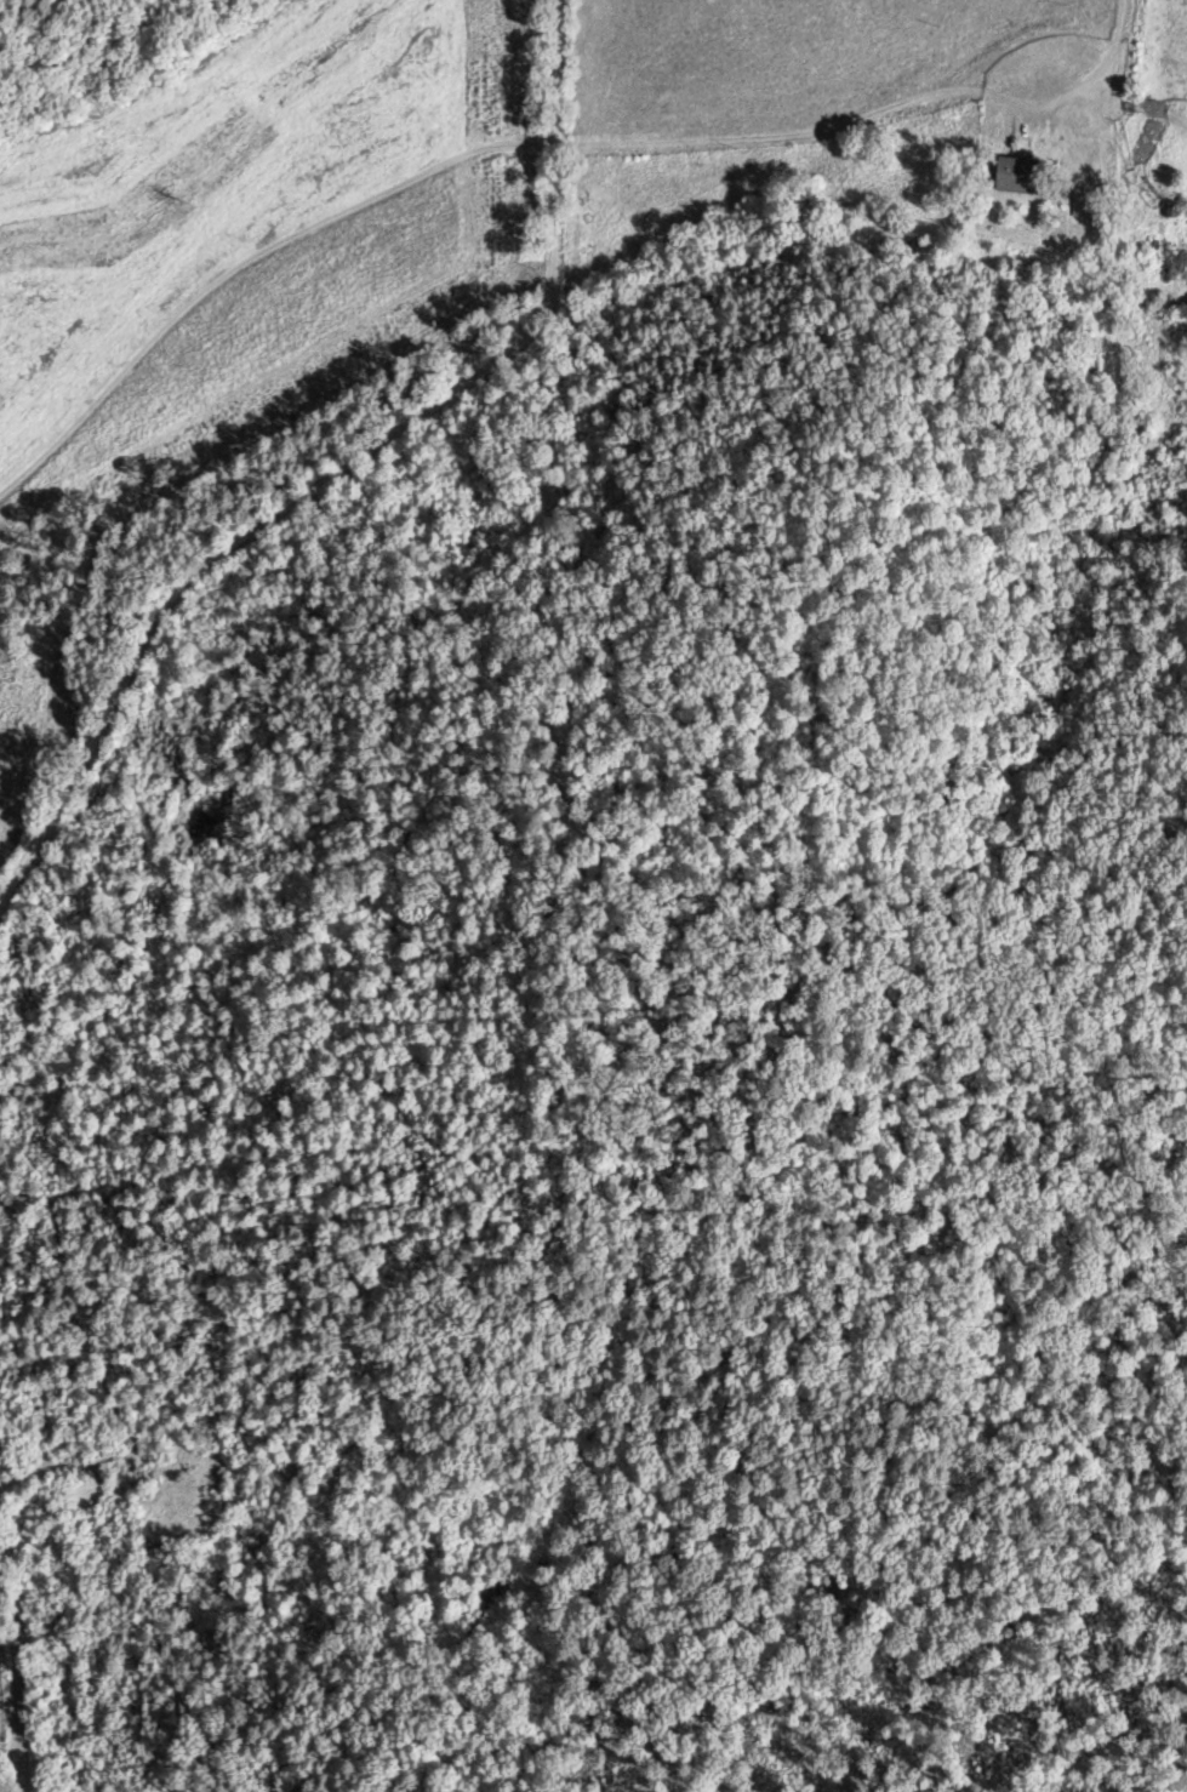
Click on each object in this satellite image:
road: (856, 129)
building: (1032, 172)
building: (1100, 205)
road: (268, 211)
road: (278, 457)

